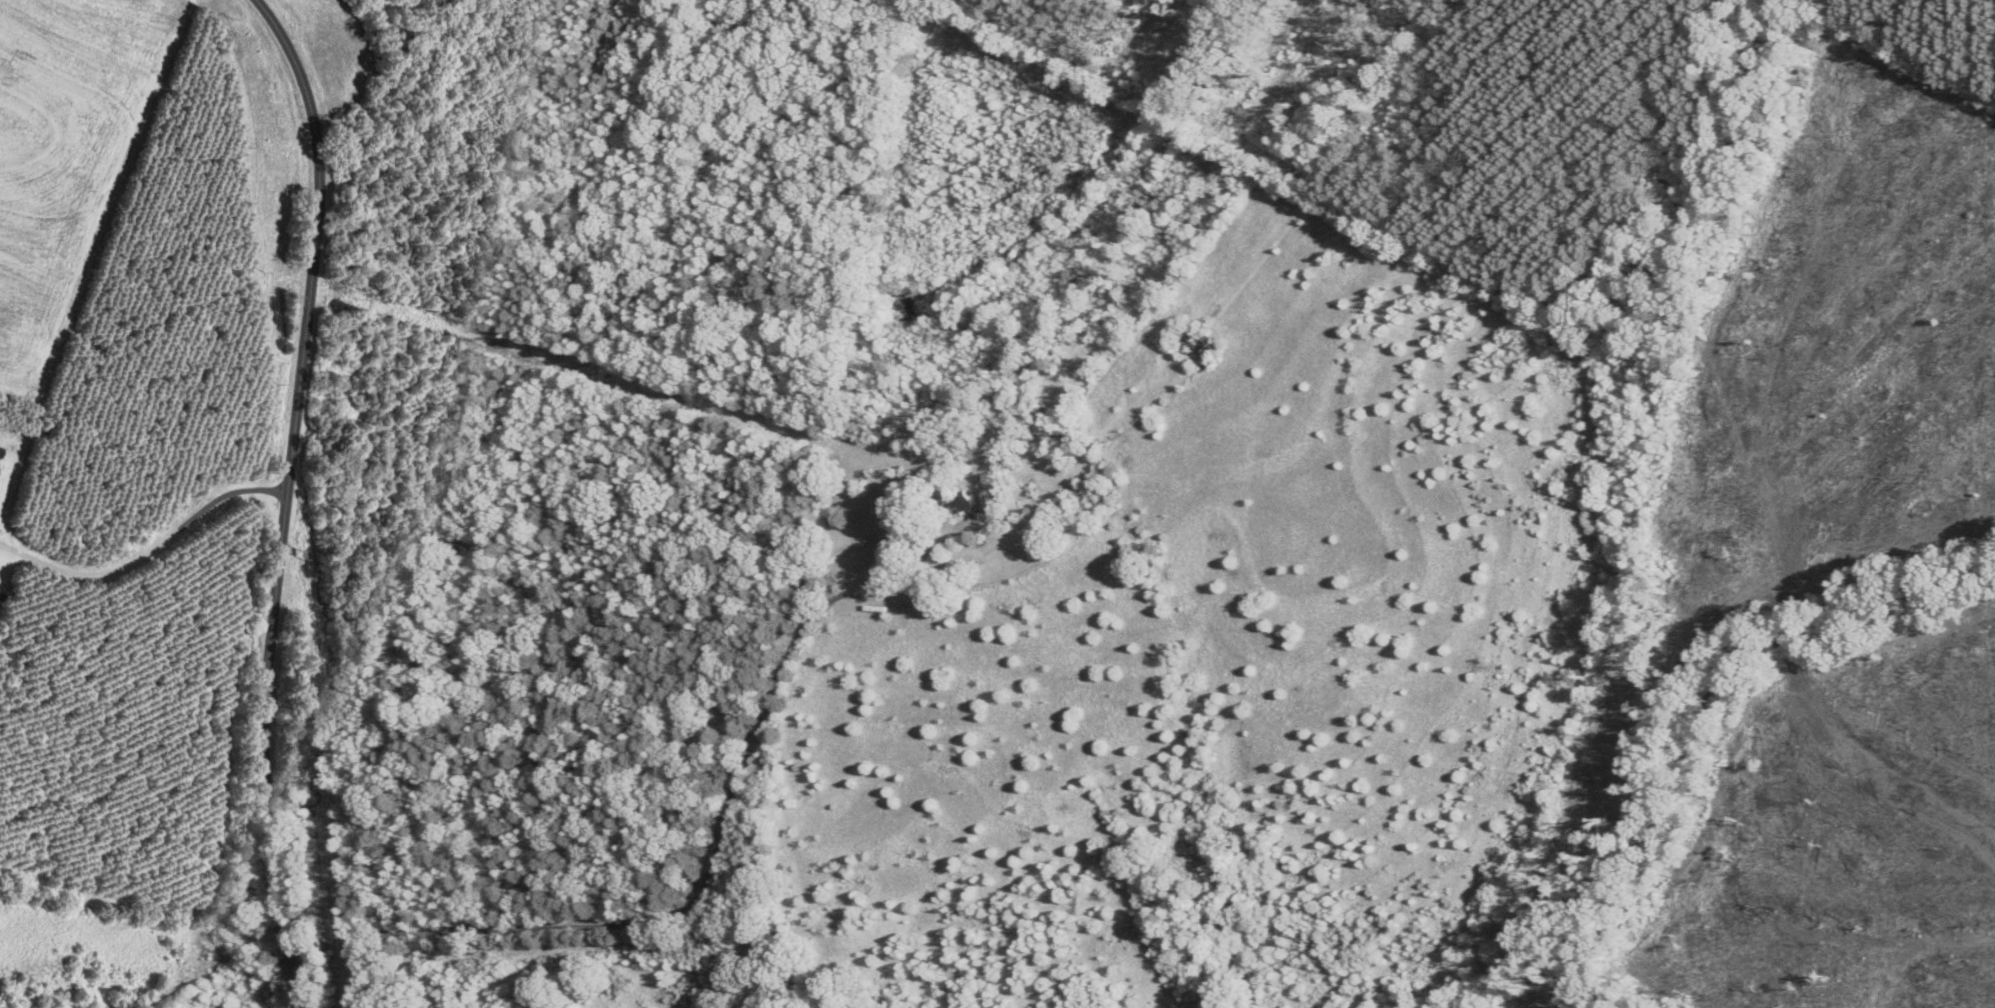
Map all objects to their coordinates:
building: (1195, 344)
building: (0, 450)
road: (295, 498)
building: (955, 503)
road: (151, 550)
road: (693, 894)

